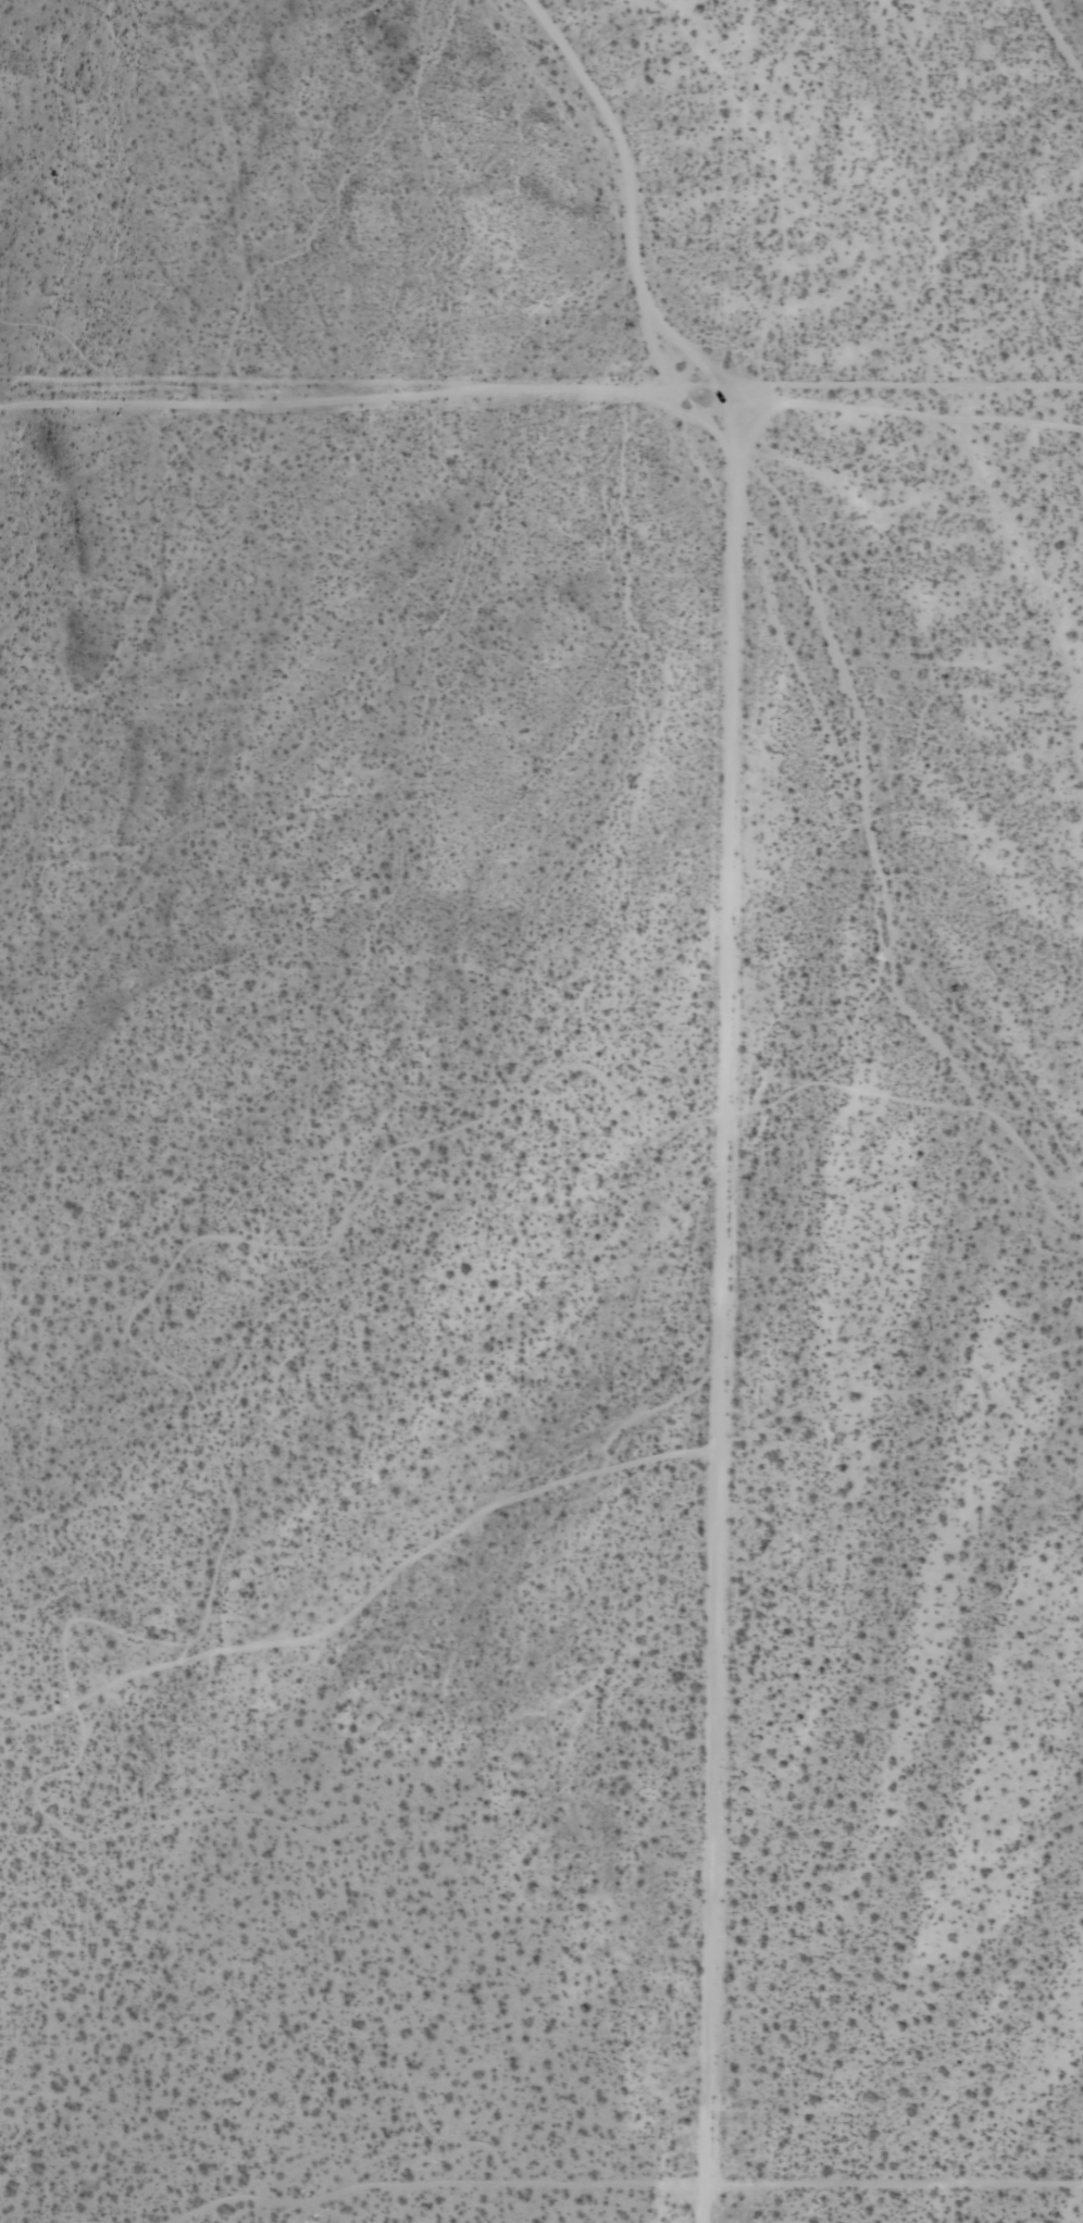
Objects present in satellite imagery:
road: (540, 405)
road: (727, 1073)

